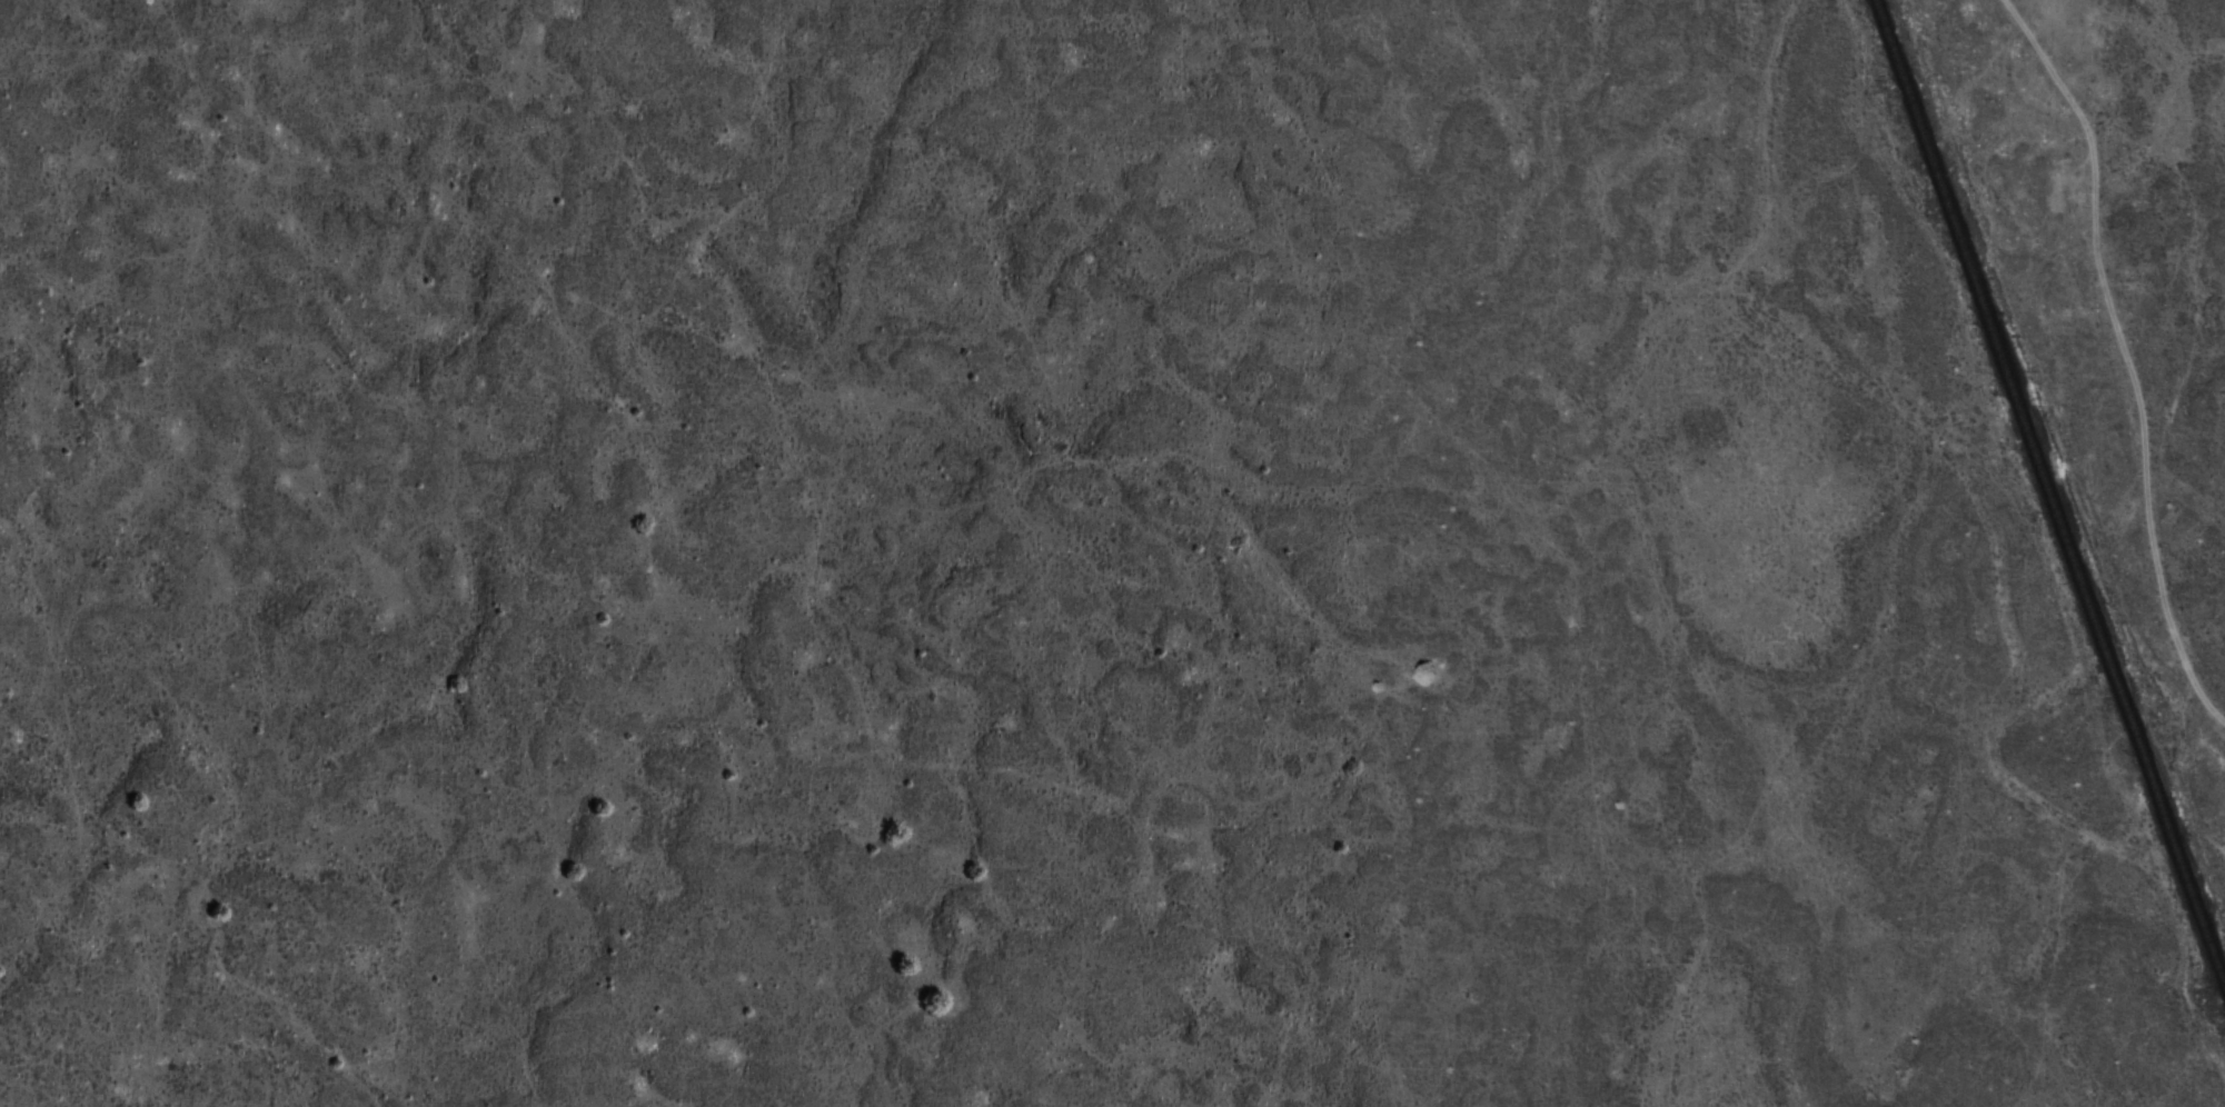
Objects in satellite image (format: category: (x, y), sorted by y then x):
road: (2125, 357)
railway: (2048, 497)

